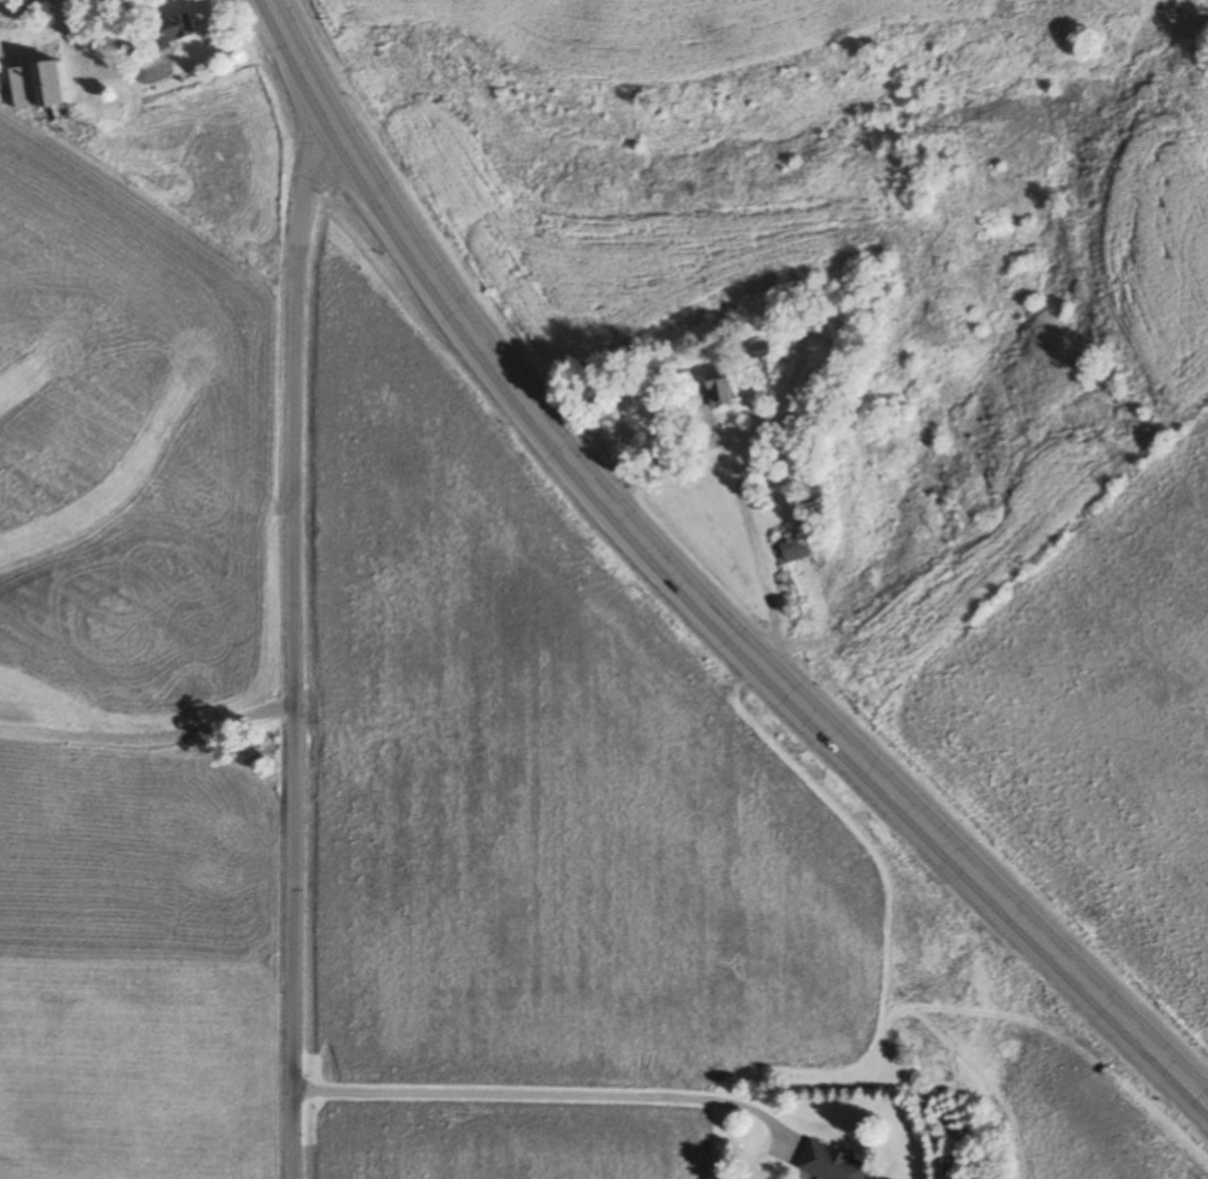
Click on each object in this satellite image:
building: (169, 34)
building: (38, 88)
building: (761, 350)
building: (720, 388)
building: (793, 424)
building: (796, 549)
road: (691, 590)
road: (294, 650)
road: (149, 736)
road: (549, 1095)
building: (831, 1163)

